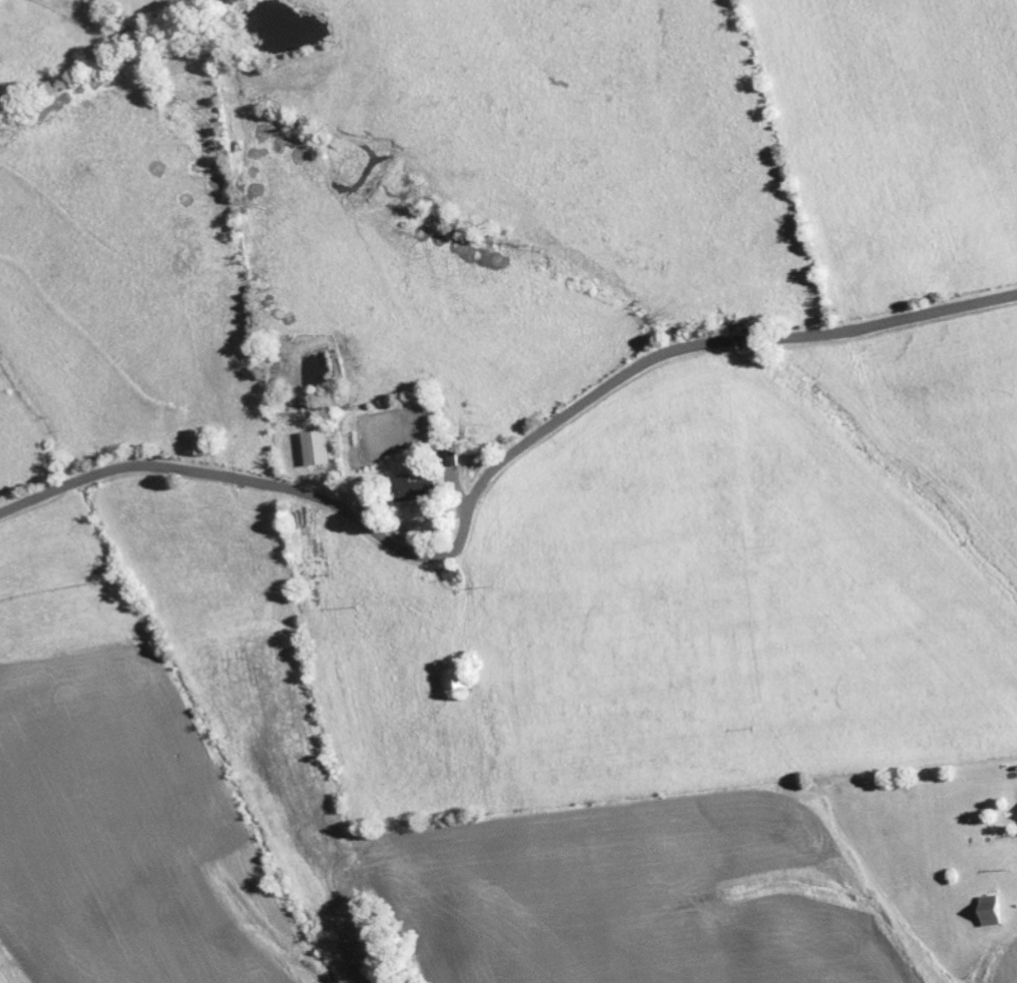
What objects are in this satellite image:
building: (199, 443)
building: (318, 449)
road: (493, 477)
building: (416, 490)
building: (459, 680)
building: (993, 911)

